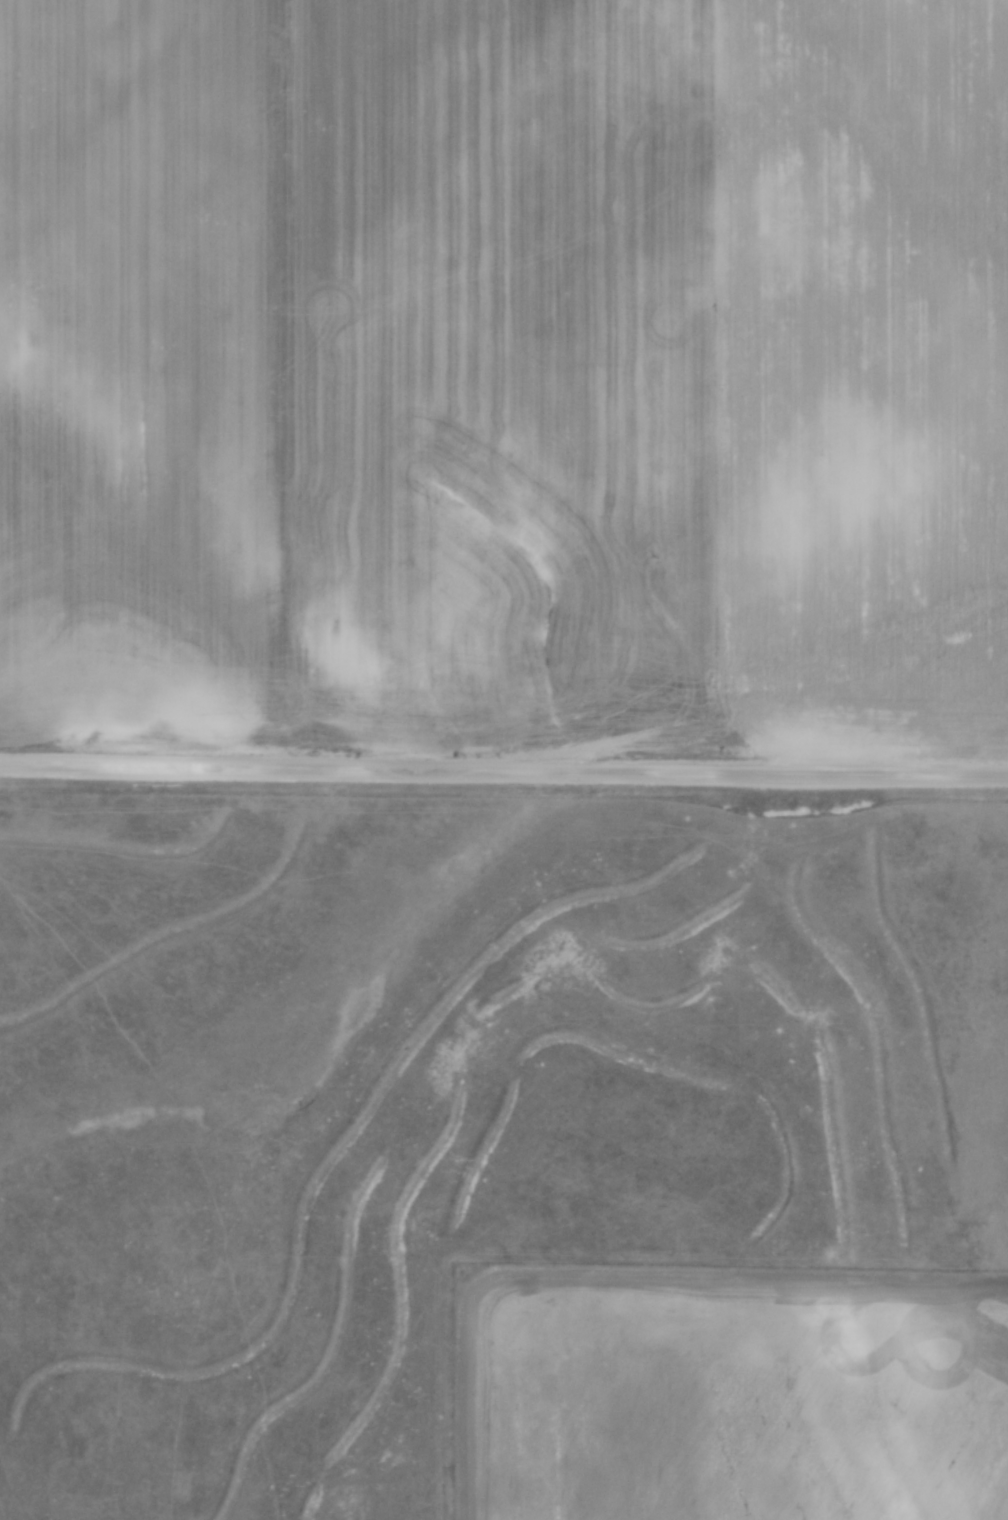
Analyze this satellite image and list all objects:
road: (504, 764)

